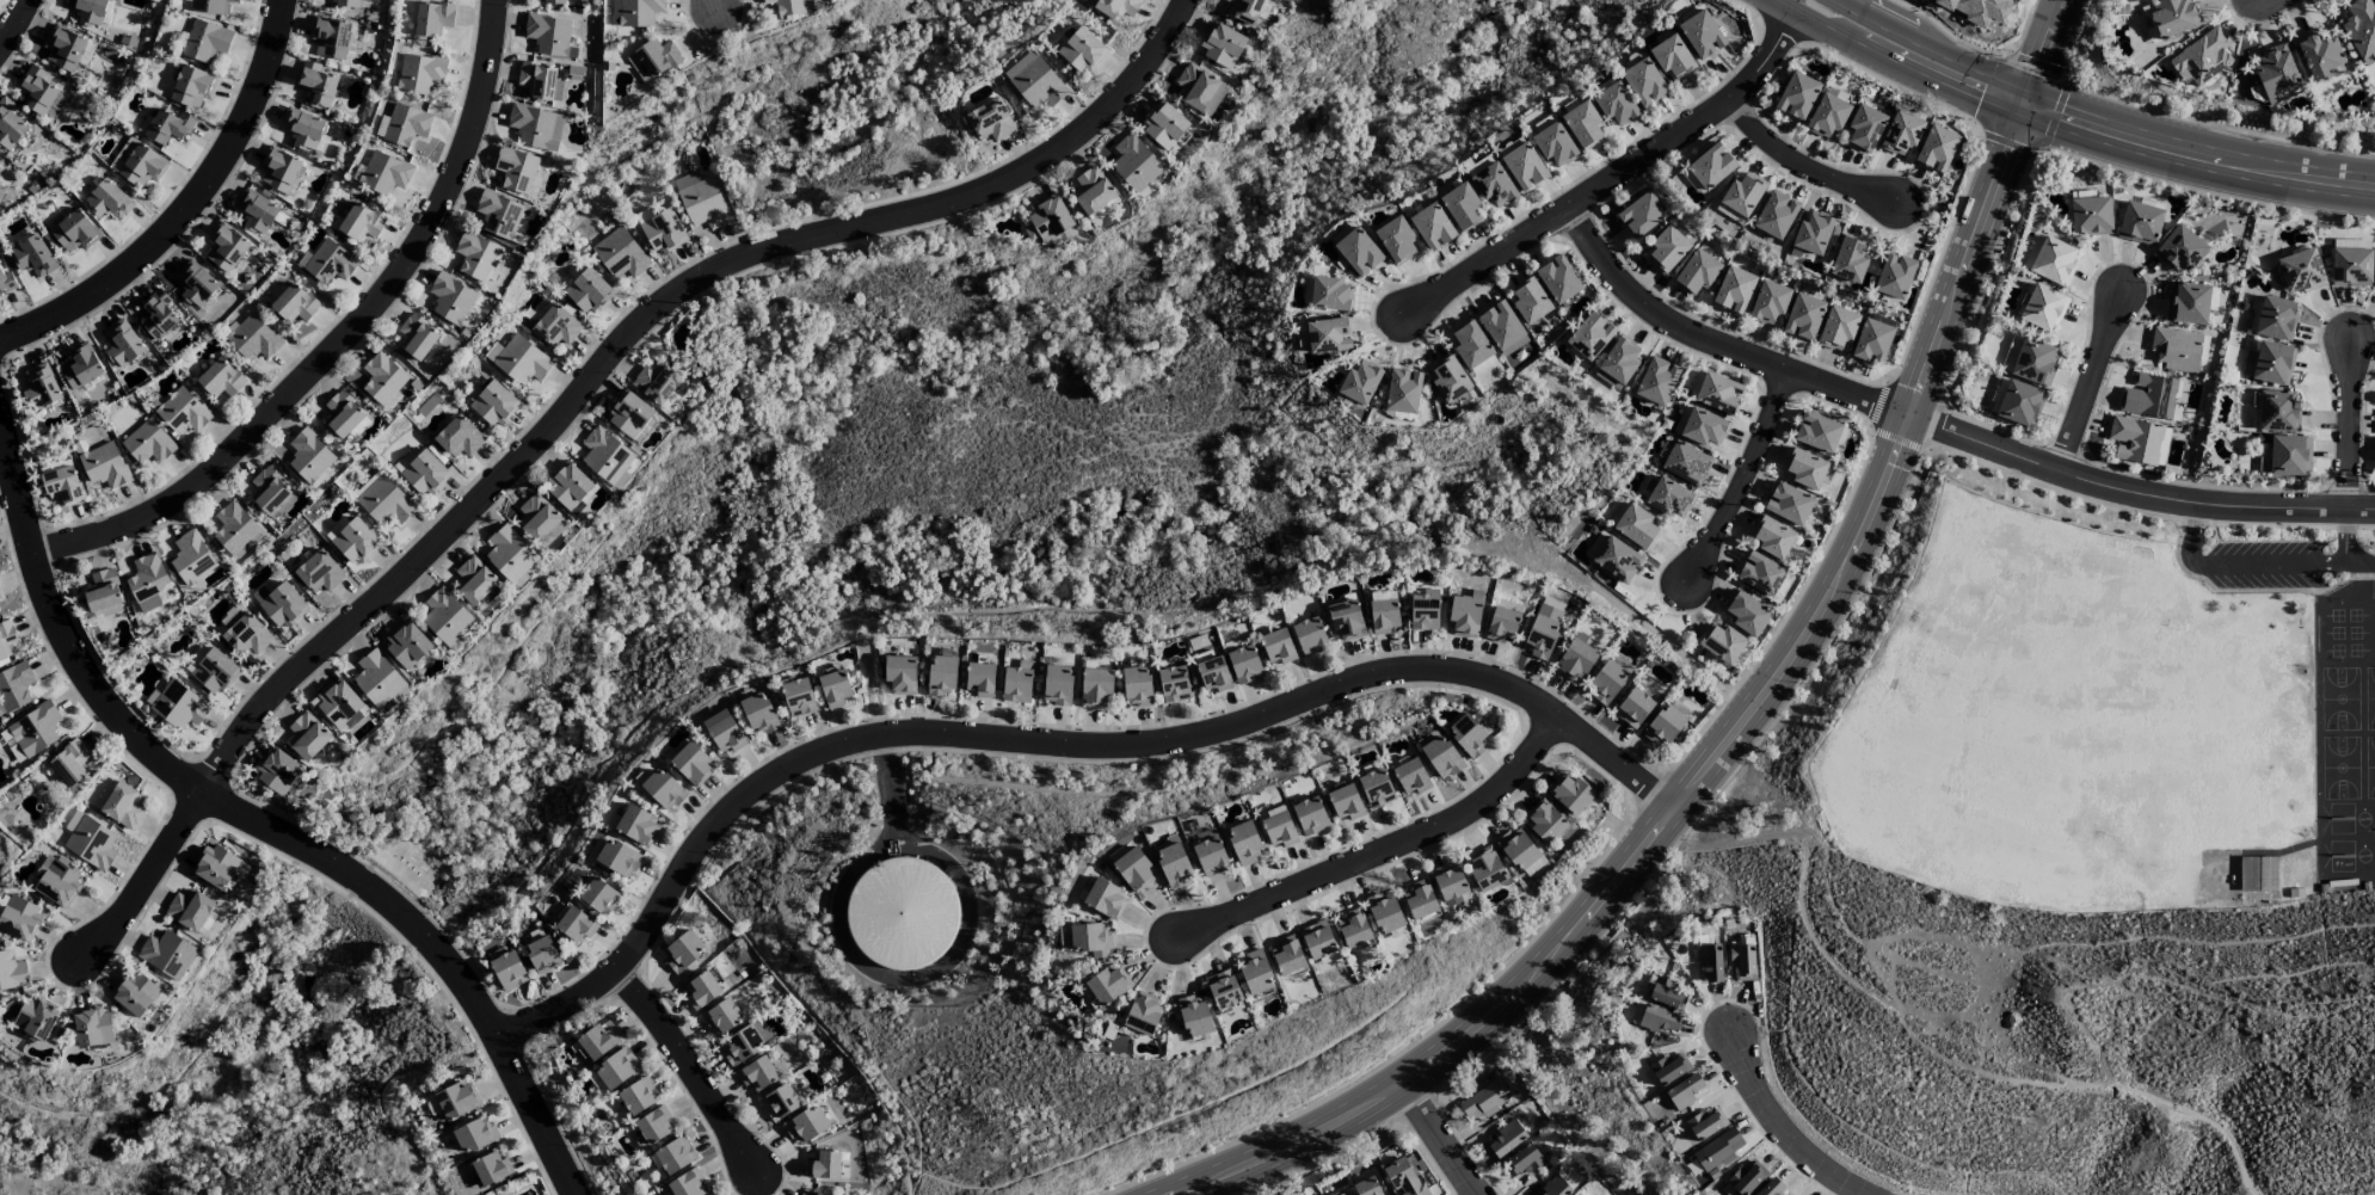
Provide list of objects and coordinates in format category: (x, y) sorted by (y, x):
road: (713, 1)
building: (345, 2)
building: (550, 2)
road: (1839, 4)
building: (210, 6)
building: (786, 6)
building: (1116, 7)
building: (1977, 8)
building: (1244, 10)
building: (87, 11)
building: (634, 12)
building: (2172, 17)
building: (432, 18)
road: (16, 25)
building: (2361, 30)
building: (1702, 35)
building: (549, 36)
building: (331, 37)
building: (205, 41)
building: (1222, 45)
road: (2044, 47)
building: (64, 48)
road: (1924, 49)
building: (1081, 50)
building: (2318, 55)
building: (1672, 57)
building: (2201, 57)
building: (652, 60)
road: (1895, 60)
building: (2274, 73)
building: (419, 74)
building: (539, 81)
building: (1034, 81)
building: (1643, 82)
building: (316, 84)
building: (192, 86)
building: (1199, 90)
building: (37, 91)
traffic signals: (2026, 93)
building: (1796, 96)
building: (1614, 104)
road: (2022, 104)
building: (1827, 116)
traffic signals: (2018, 116)
building: (990, 121)
building: (1582, 124)
building: (10, 125)
building: (402, 125)
building: (167, 127)
building: (535, 127)
building: (1164, 127)
building: (302, 128)
building: (1864, 128)
building: (1901, 134)
road: (2197, 144)
building: (1555, 146)
building: (1936, 149)
building: (139, 162)
building: (1134, 164)
road: (1804, 166)
building: (1524, 167)
building: (1710, 167)
road: (2194, 167)
building: (516, 170)
building: (278, 171)
building: (384, 173)
road: (1617, 180)
building: (1494, 185)
building: (1091, 191)
building: (1740, 198)
building: (109, 201)
building: (701, 201)
building: (1462, 207)
road: (186, 210)
building: (257, 211)
building: (499, 214)
building: (1641, 215)
building: (1774, 215)
building: (2090, 216)
building: (1050, 218)
building: (361, 222)
building: (2140, 223)
building: (1432, 227)
building: (75, 232)
building: (663, 232)
building: (1813, 234)
building: (1396, 241)
building: (226, 247)
building: (1666, 250)
building: (2180, 250)
building: (1358, 252)
building: (620, 254)
building: (475, 255)
building: (33, 257)
building: (2049, 259)
building: (1848, 260)
building: (330, 263)
building: (2350, 267)
building: (2300, 271)
building: (1696, 272)
building: (1894, 276)
building: (1558, 279)
building: (6, 282)
building: (2374, 283)
building: (196, 284)
building: (1734, 290)
building: (587, 291)
building: (1329, 295)
building: (450, 298)
building: (1528, 300)
building: (1768, 302)
building: (2186, 303)
building: (294, 304)
building: (2041, 308)
building: (156, 316)
building: (1803, 318)
building: (2275, 319)
building: (555, 327)
building: (1502, 328)
building: (1838, 328)
building: (1327, 335)
building: (417, 337)
building: (1589, 337)
building: (253, 338)
road: (339, 339)
building: (1871, 341)
building: (122, 344)
building: (1470, 345)
building: (2176, 349)
building: (518, 361)
building: (1619, 361)
building: (2035, 362)
building: (2269, 363)
building: (80, 366)
building: (221, 378)
building: (1448, 378)
building: (383, 381)
building: (1656, 381)
building: (656, 383)
building: (1360, 383)
road: (2091, 383)
building: (41, 388)
building: (1403, 392)
building: (1718, 394)
building: (2148, 396)
road: (579, 399)
building: (2019, 404)
building: (494, 405)
building: (183, 412)
building: (2277, 412)
building: (343, 414)
building: (629, 415)
road: (2348, 426)
building: (1704, 427)
road: (1942, 431)
building: (1816, 432)
building: (459, 438)
building: (2134, 441)
building: (148, 443)
building: (2288, 456)
building: (309, 457)
building: (608, 458)
building: (1686, 463)
building: (104, 466)
building: (1807, 469)
building: (425, 474)
road: (1747, 480)
building: (61, 485)
building: (567, 486)
building: (271, 493)
building: (1669, 498)
building: (384, 501)
building: (1789, 504)
building: (539, 520)
building: (1636, 526)
building: (235, 530)
building: (1772, 537)
building: (356, 542)
building: (510, 554)
building: (191, 558)
building: (1617, 560)
road: (2363, 565)
parking lot: (2270, 566)
road: (2270, 566)
building: (319, 573)
building: (1760, 574)
building: (147, 577)
building: (473, 580)
building: (103, 593)
building: (1378, 596)
building: (0, 597)
building: (279, 604)
building: (1423, 610)
building: (1747, 614)
building: (1463, 616)
building: (445, 617)
building: (1383, 617)
building: (1345, 621)
building: (1501, 624)
building: (1542, 632)
building: (246, 635)
building: (1309, 635)
building: (6, 641)
building: (1722, 643)
building: (406, 646)
building: (1276, 647)
building: (1575, 660)
building: (1244, 665)
building: (214, 672)
building: (1213, 675)
building: (900, 676)
building: (942, 676)
building: (376, 678)
building: (979, 679)
building: (1017, 683)
building: (1606, 683)
building: (1173, 684)
building: (1057, 685)
building: (14, 686)
building: (1136, 686)
building: (1095, 688)
building: (833, 689)
building: (798, 697)
building: (337, 703)
building: (179, 706)
building: (1632, 708)
building: (758, 714)
building: (1663, 726)
building: (36, 729)
building: (1466, 734)
building: (725, 735)
building: (307, 737)
building: (12, 746)
road: (1051, 749)
road: (1719, 753)
building: (1441, 757)
building: (70, 763)
building: (691, 764)
building: (277, 772)
building: (1410, 777)
road: (890, 784)
building: (662, 789)
building: (1376, 789)
building: (1571, 794)
building: (1345, 802)
building: (119, 803)
building: (1310, 817)
building: (1545, 823)
building: (636, 825)
road: (257, 827)
building: (1279, 830)
building: (1244, 843)
building: (92, 844)
building: (1520, 851)
road: (1380, 852)
building: (1210, 856)
building: (617, 858)
building: (1173, 864)
building: (216, 866)
building: (1133, 870)
building: (1487, 870)
building: (2247, 874)
building: (59, 882)
building: (1448, 883)
building: (598, 897)
building: (1105, 898)
building: (1419, 900)
building: (189, 910)
building: (1384, 912)
building: (902, 913)
building: (20, 919)
building: (576, 925)
building: (1354, 928)
building: (1090, 940)
building: (1317, 941)
building: (682, 950)
building: (167, 955)
building: (541, 955)
building: (1286, 955)
building: (1742, 961)
building: (1710, 962)
road: (934, 968)
building: (507, 971)
building: (1255, 972)
building: (12, 973)
building: (1106, 986)
building: (701, 990)
building: (1223, 990)
building: (1666, 993)
building: (135, 994)
building: (1143, 1014)
building: (1192, 1015)
building: (37, 1018)
building: (721, 1018)
building: (1657, 1020)
building: (92, 1027)
building: (597, 1042)
building: (744, 1042)
park: (2036, 1042)
road: (1925, 1046)
building: (616, 1068)
building: (1669, 1068)
road: (690, 1070)
building: (757, 1074)
park: (327, 1091)
building: (1684, 1092)
building: (638, 1096)
building: (456, 1101)
building: (1484, 1101)
building: (779, 1103)
building: (653, 1125)
building: (1705, 1125)
building: (806, 1126)
road: (1784, 1128)
building: (474, 1135)
building: (1507, 1138)
road: (1439, 1140)
building: (1717, 1151)
building: (673, 1156)
building: (1522, 1159)
building: (824, 1164)
building: (490, 1169)
building: (1403, 1177)
building: (1743, 1179)
park: (10, 1184)
building: (687, 1184)
building: (1367, 1187)
building: (1555, 1187)
building: (1772, 1188)
building: (811, 1191)
building: (1343, 1193)

